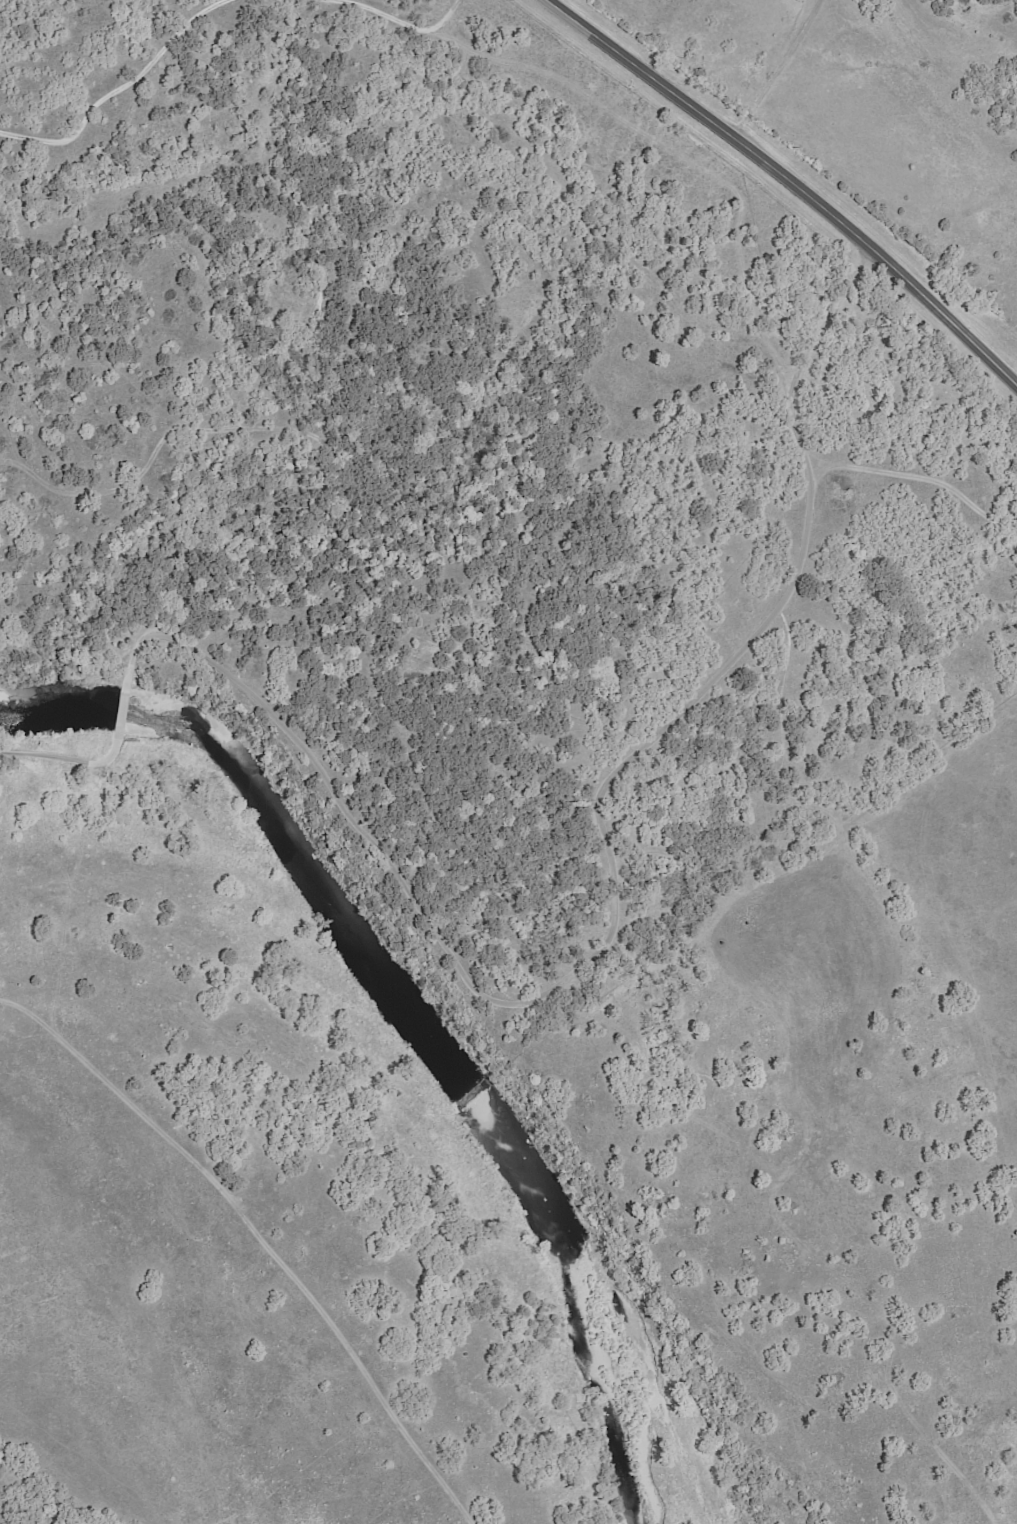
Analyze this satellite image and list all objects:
road: (776, 67)
road: (793, 181)

